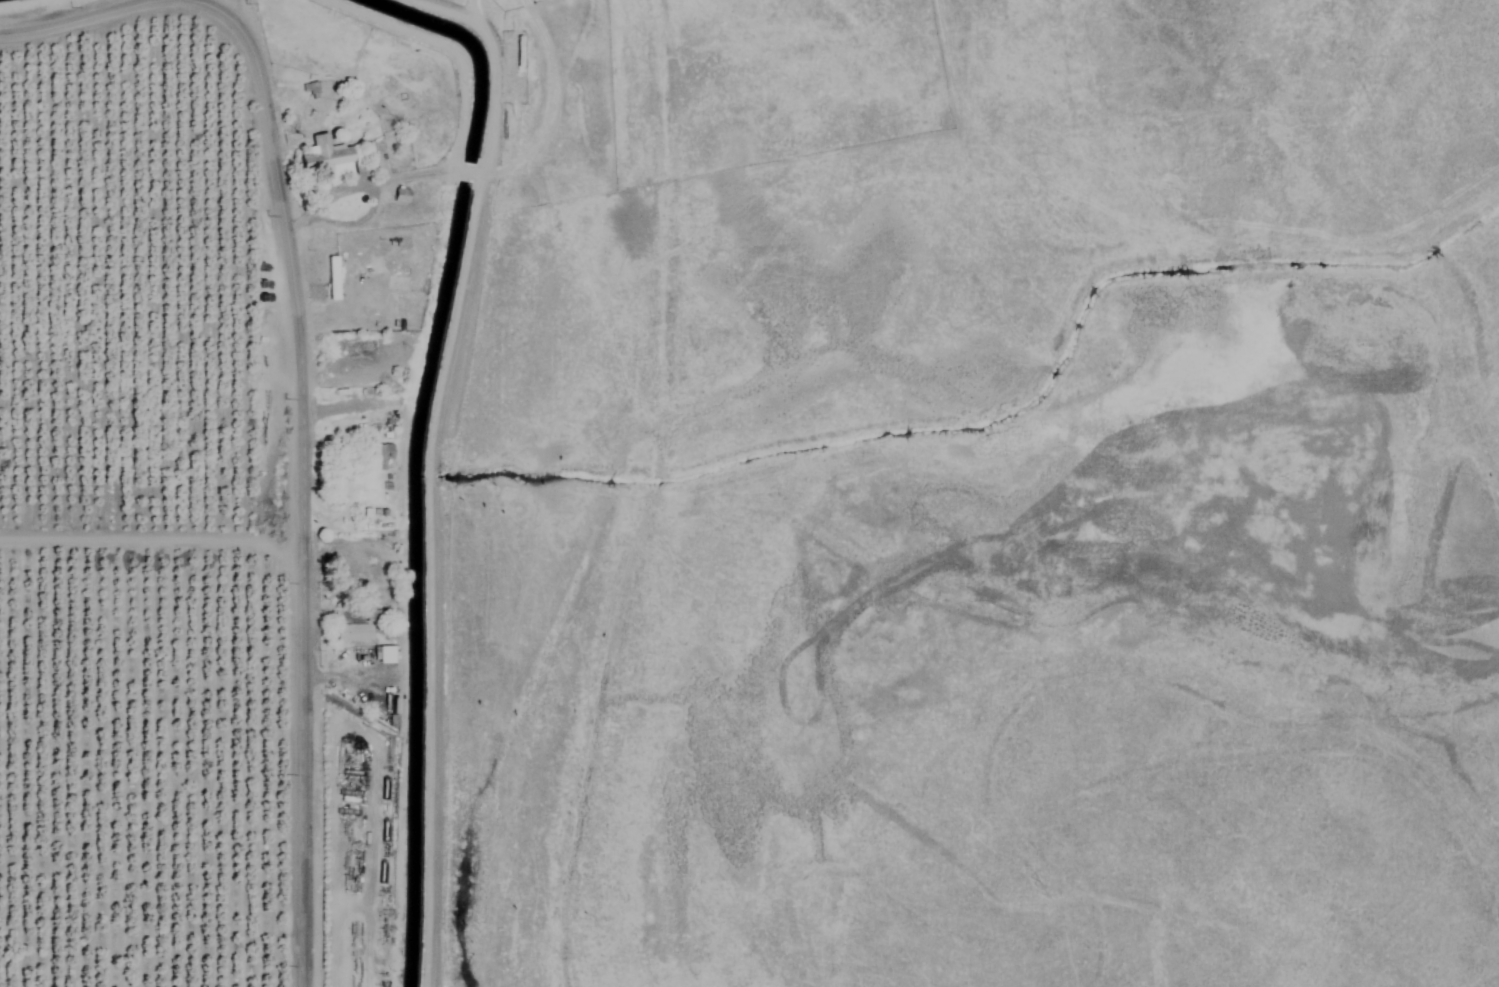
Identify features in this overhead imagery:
road: (79, 19)
building: (326, 153)
building: (401, 194)
road: (367, 212)
building: (331, 277)
building: (380, 455)
road: (299, 475)
crop: (146, 506)
building: (352, 630)
building: (385, 653)

